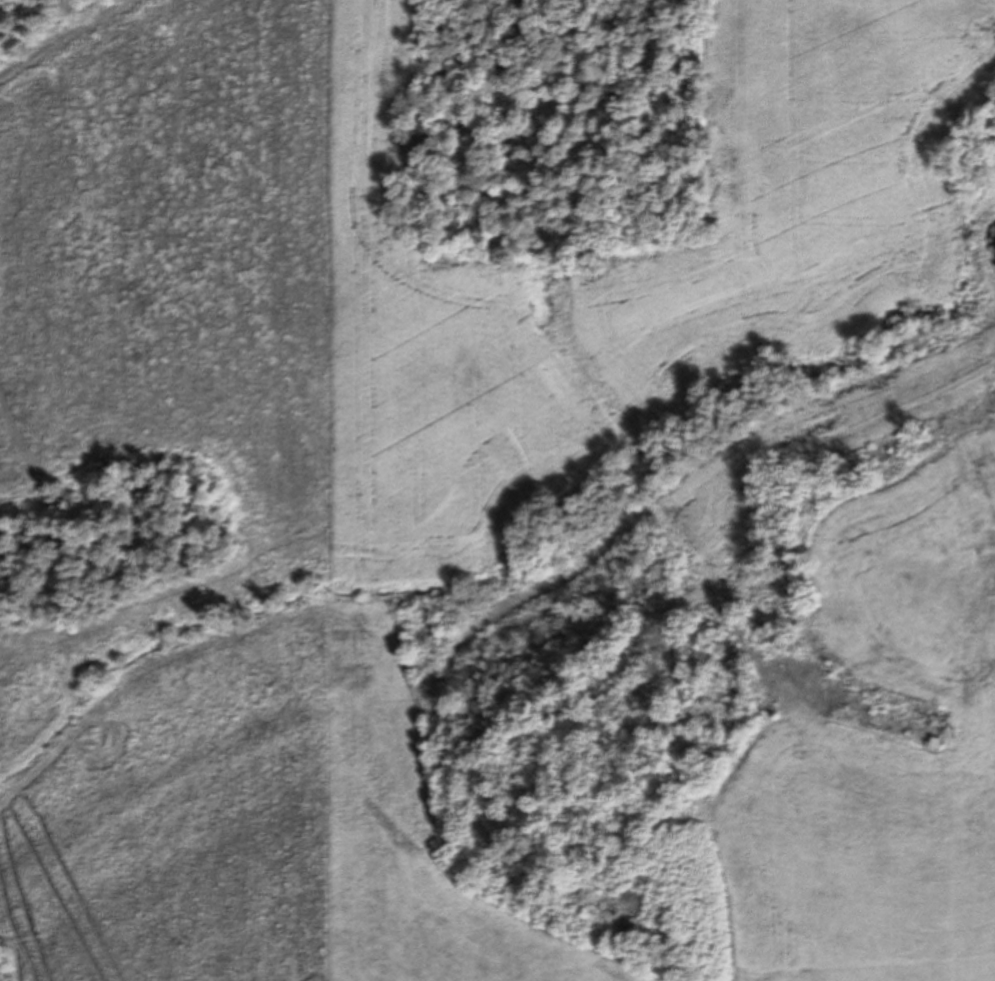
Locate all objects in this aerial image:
building: (935, 743)

